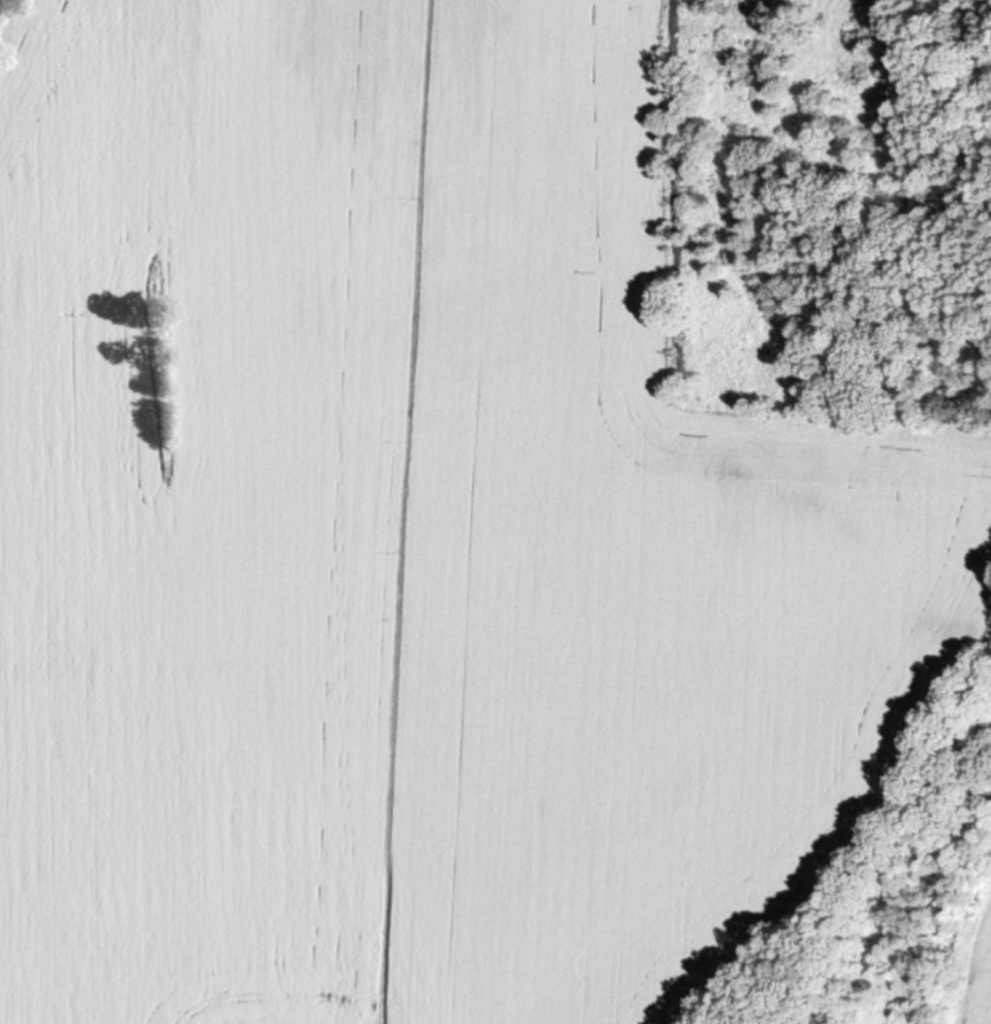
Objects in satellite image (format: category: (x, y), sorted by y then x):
crop: (336, 509)

